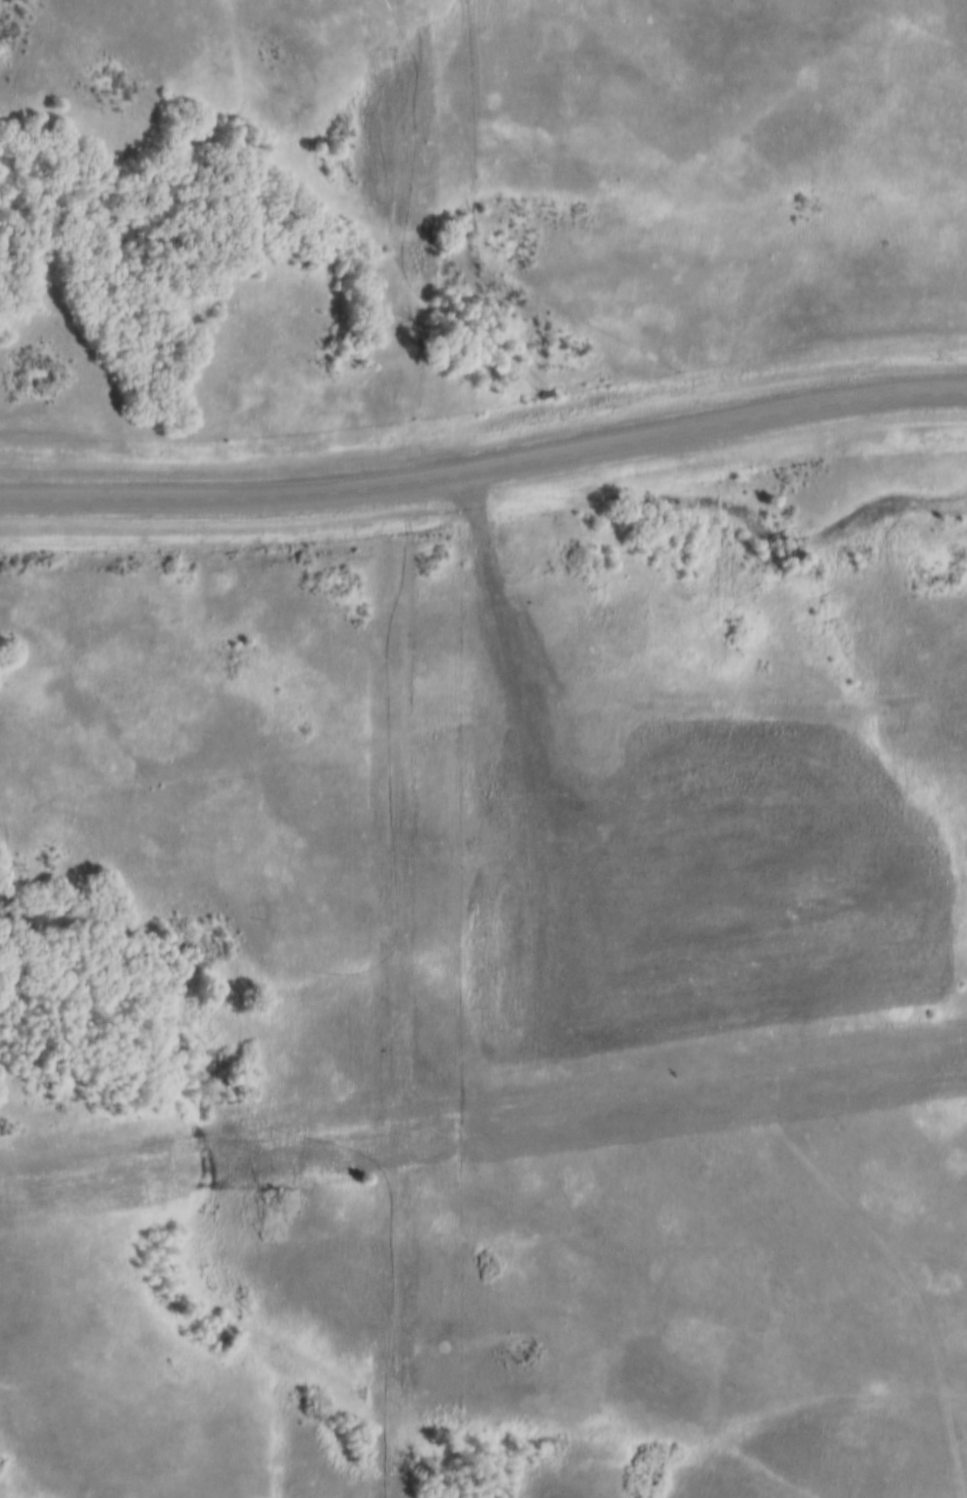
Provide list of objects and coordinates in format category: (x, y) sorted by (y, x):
road: (485, 470)

